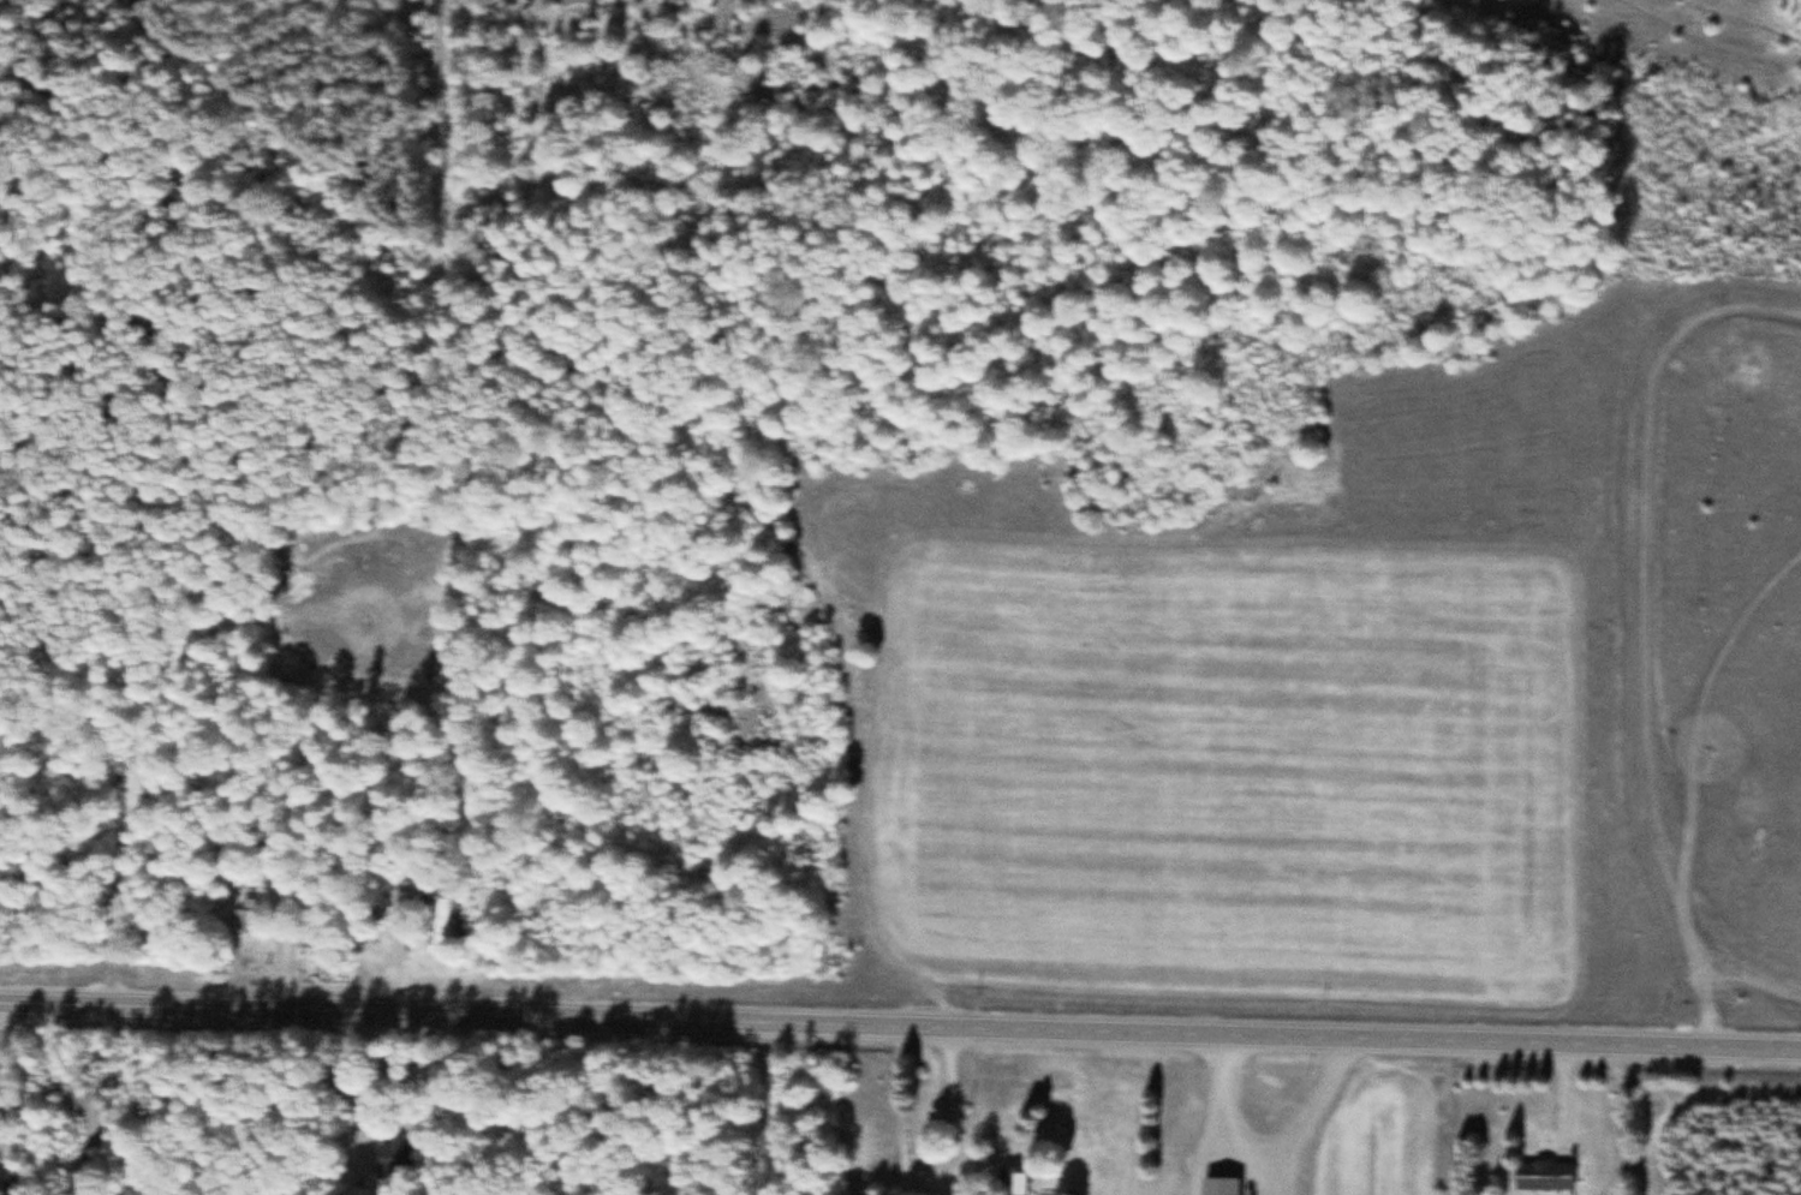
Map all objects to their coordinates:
building: (243, 920)
road: (900, 1023)
building: (392, 1158)
building: (1541, 1175)
building: (1010, 1181)
building: (1217, 1185)

